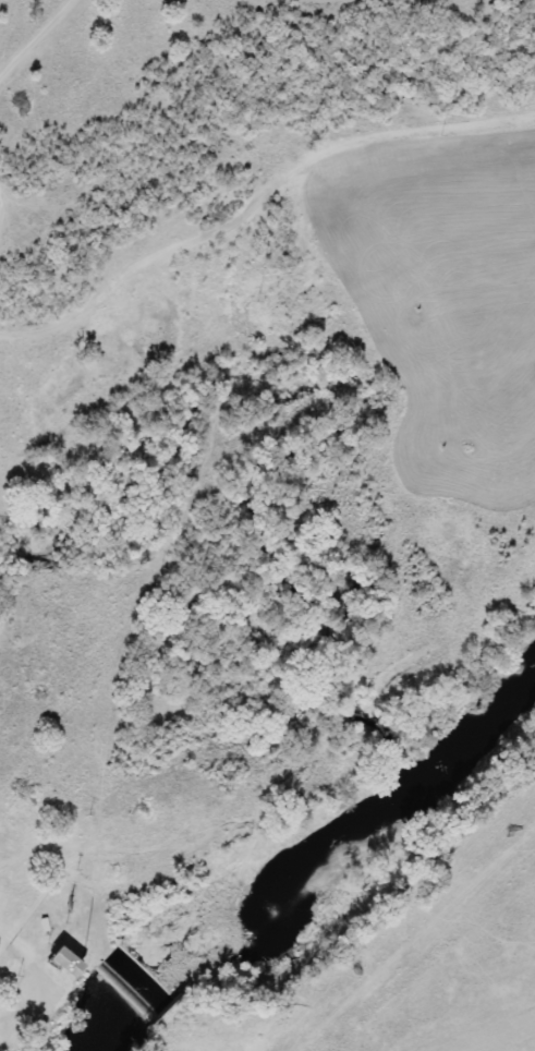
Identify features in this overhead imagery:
road: (37, 41)
road: (14, 939)
building: (69, 965)

